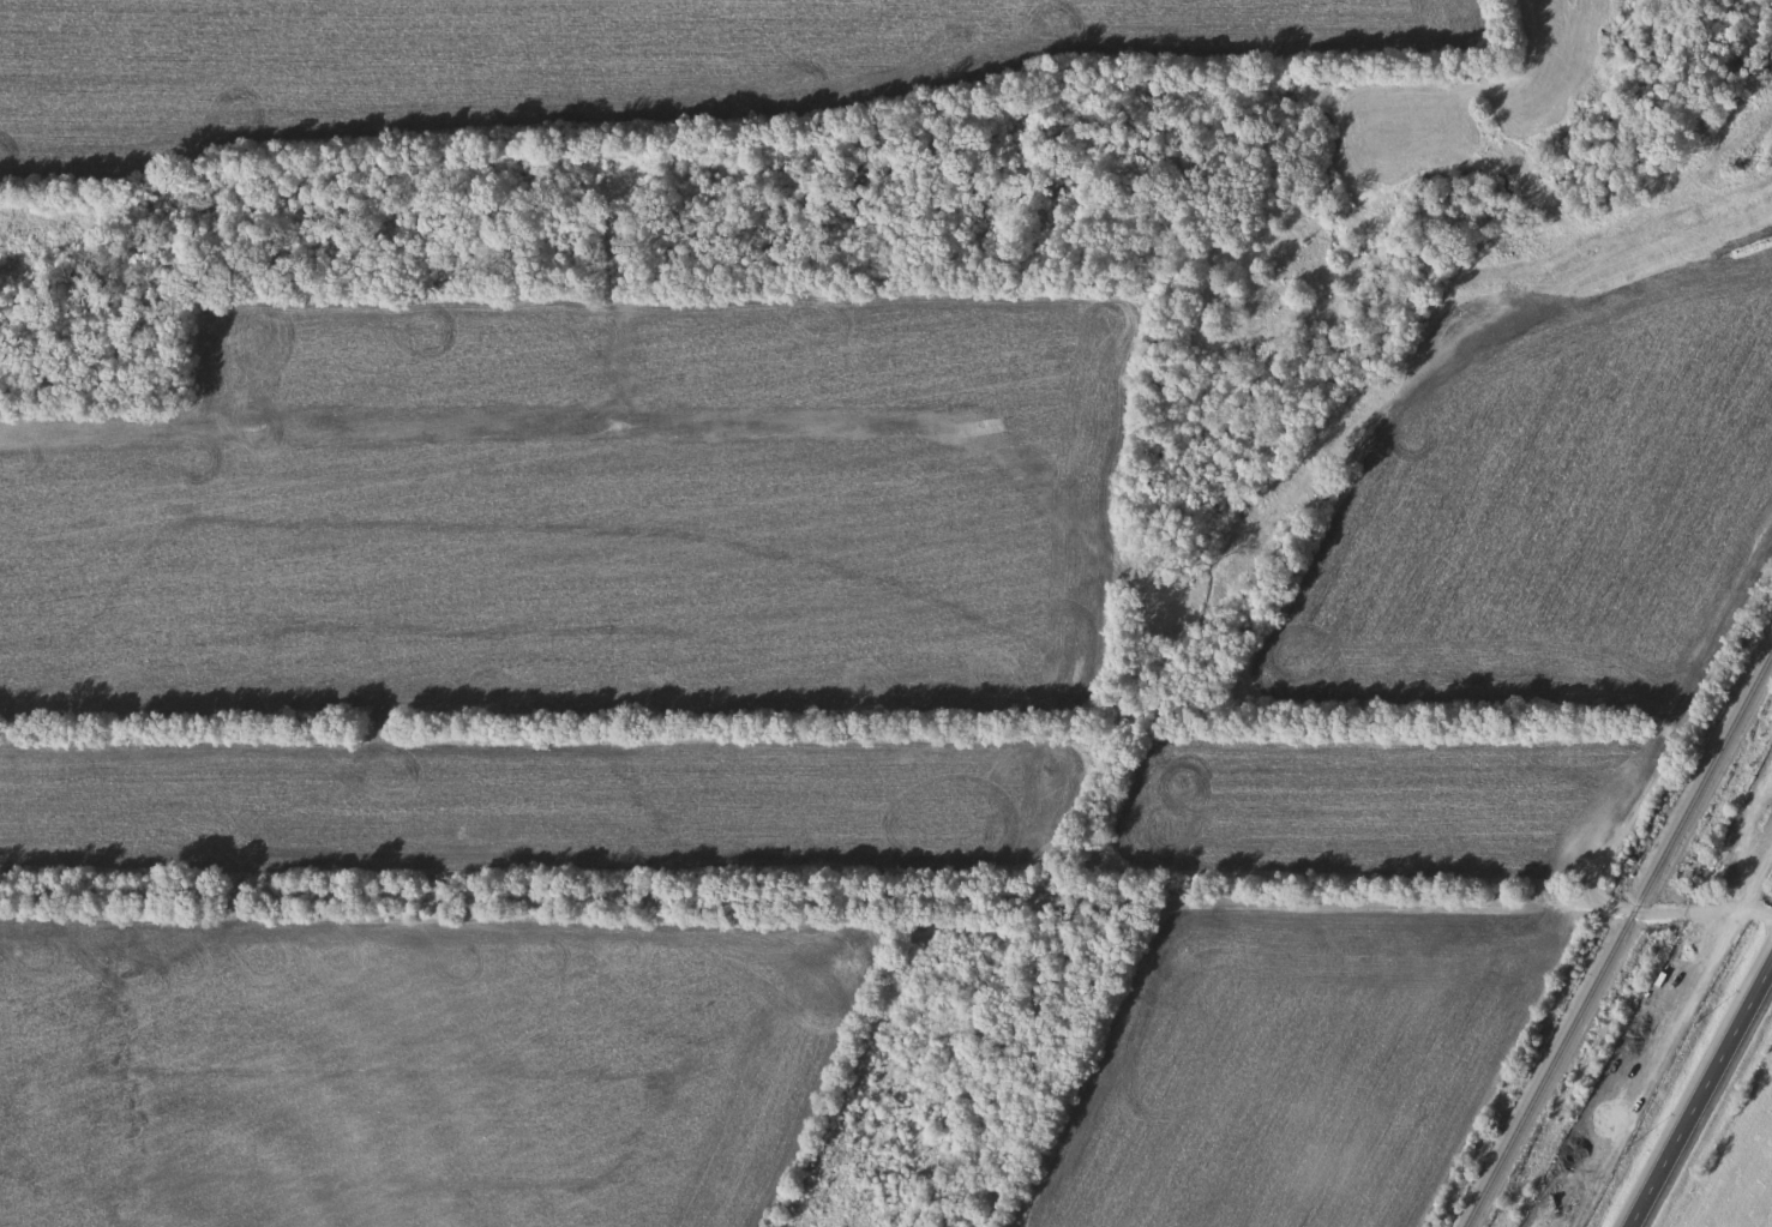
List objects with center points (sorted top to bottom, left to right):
road: (1660, 912)
railway: (1618, 939)
railway: (1660, 1017)
road: (1701, 1094)

